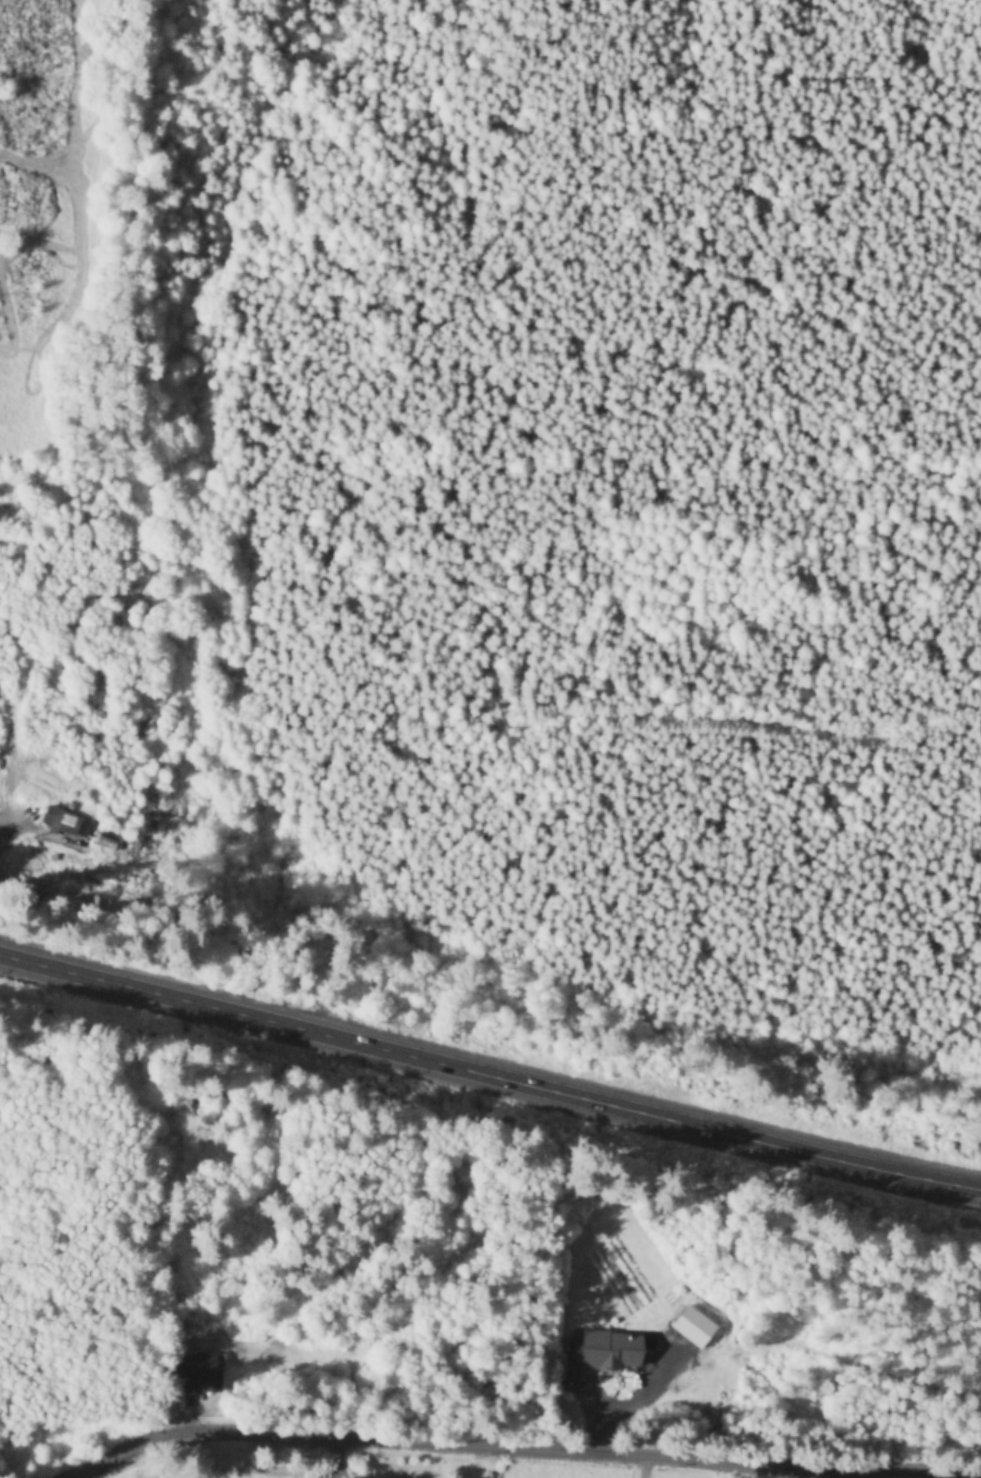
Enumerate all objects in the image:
road: (742, 721)
building: (66, 824)
road: (489, 1079)
building: (694, 1328)
building: (611, 1352)
building: (204, 1376)
road: (471, 1448)

